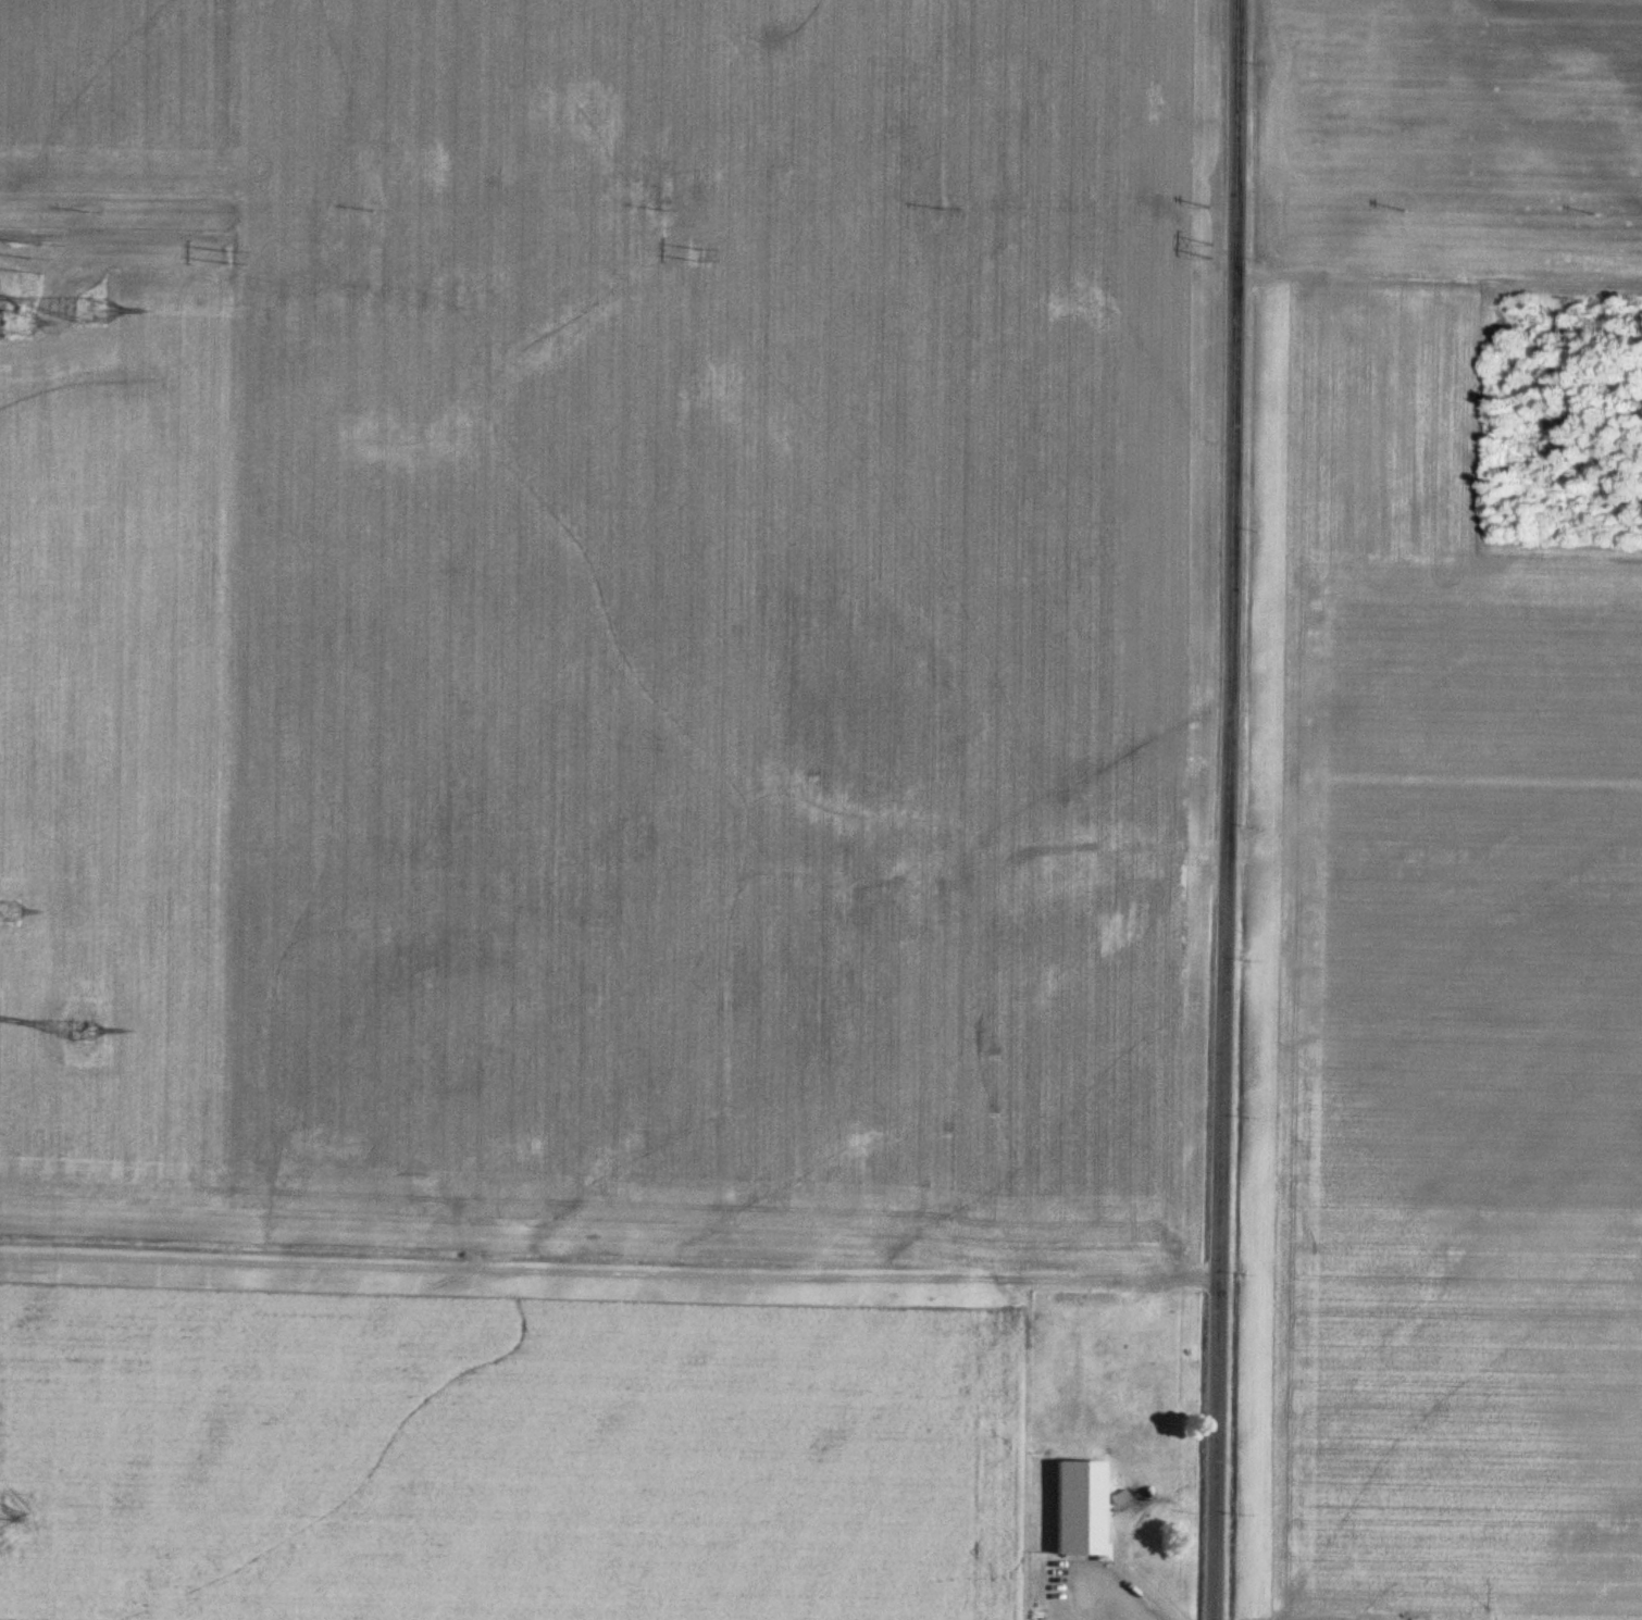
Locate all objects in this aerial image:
crop: (119, 95)
crop: (1450, 138)
power tower: (1212, 252)
power tower: (698, 253)
power tower: (227, 258)
power tower: (33, 259)
road: (1439, 282)
power tower: (90, 312)
power tower: (18, 322)
crop: (724, 618)
crop: (116, 747)
road: (1228, 810)
power tower: (10, 914)
crop: (1433, 1001)
power tower: (84, 1031)
road: (610, 1276)
crop: (505, 1459)
power tower: (1, 1522)

